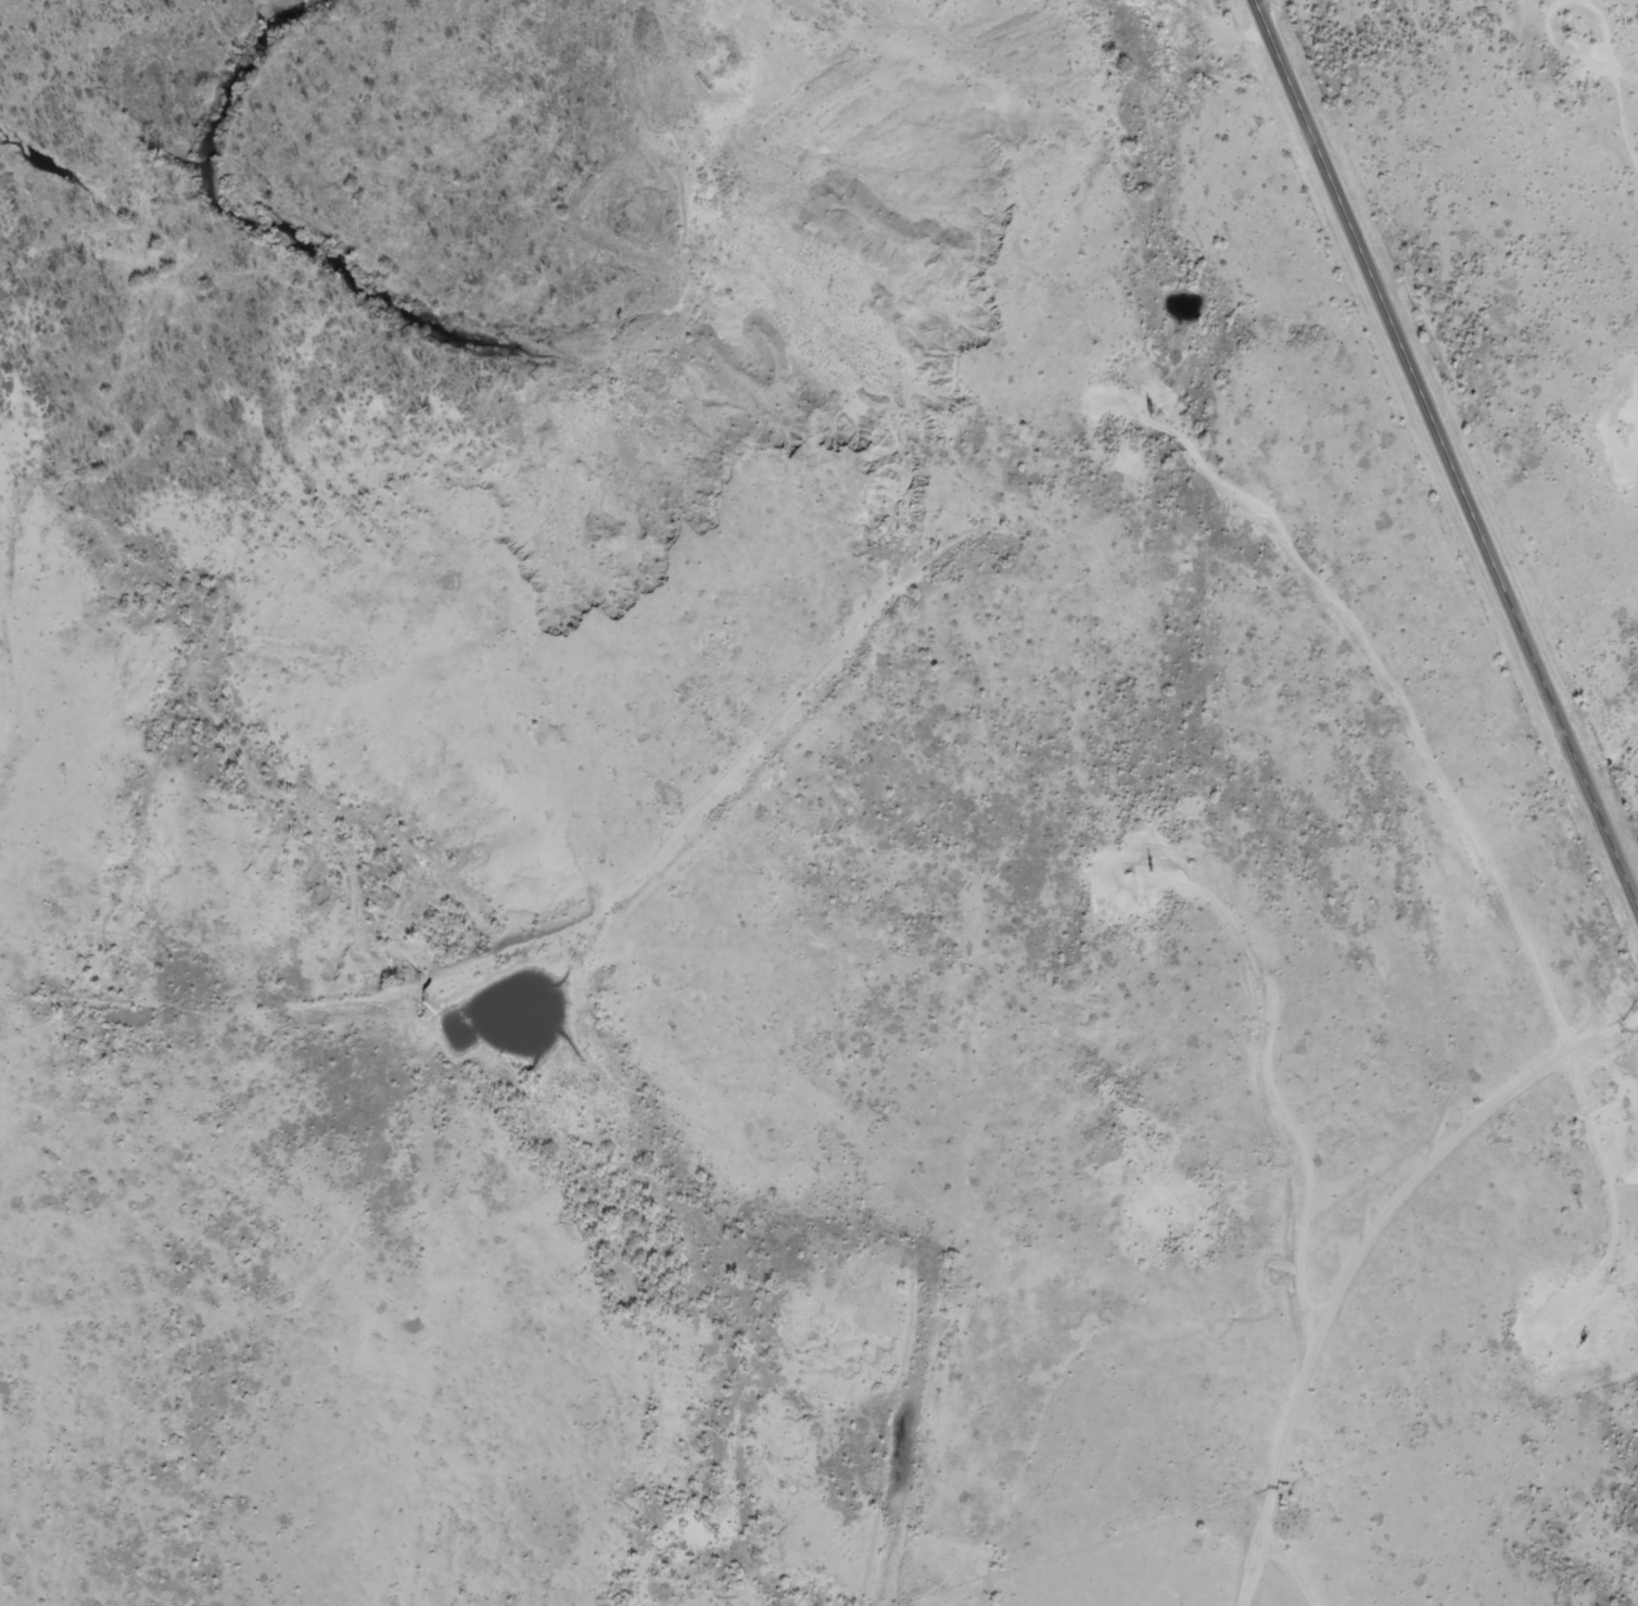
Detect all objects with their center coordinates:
road: (1447, 447)
road: (1418, 1297)
road: (478, 1377)
road: (215, 1407)

